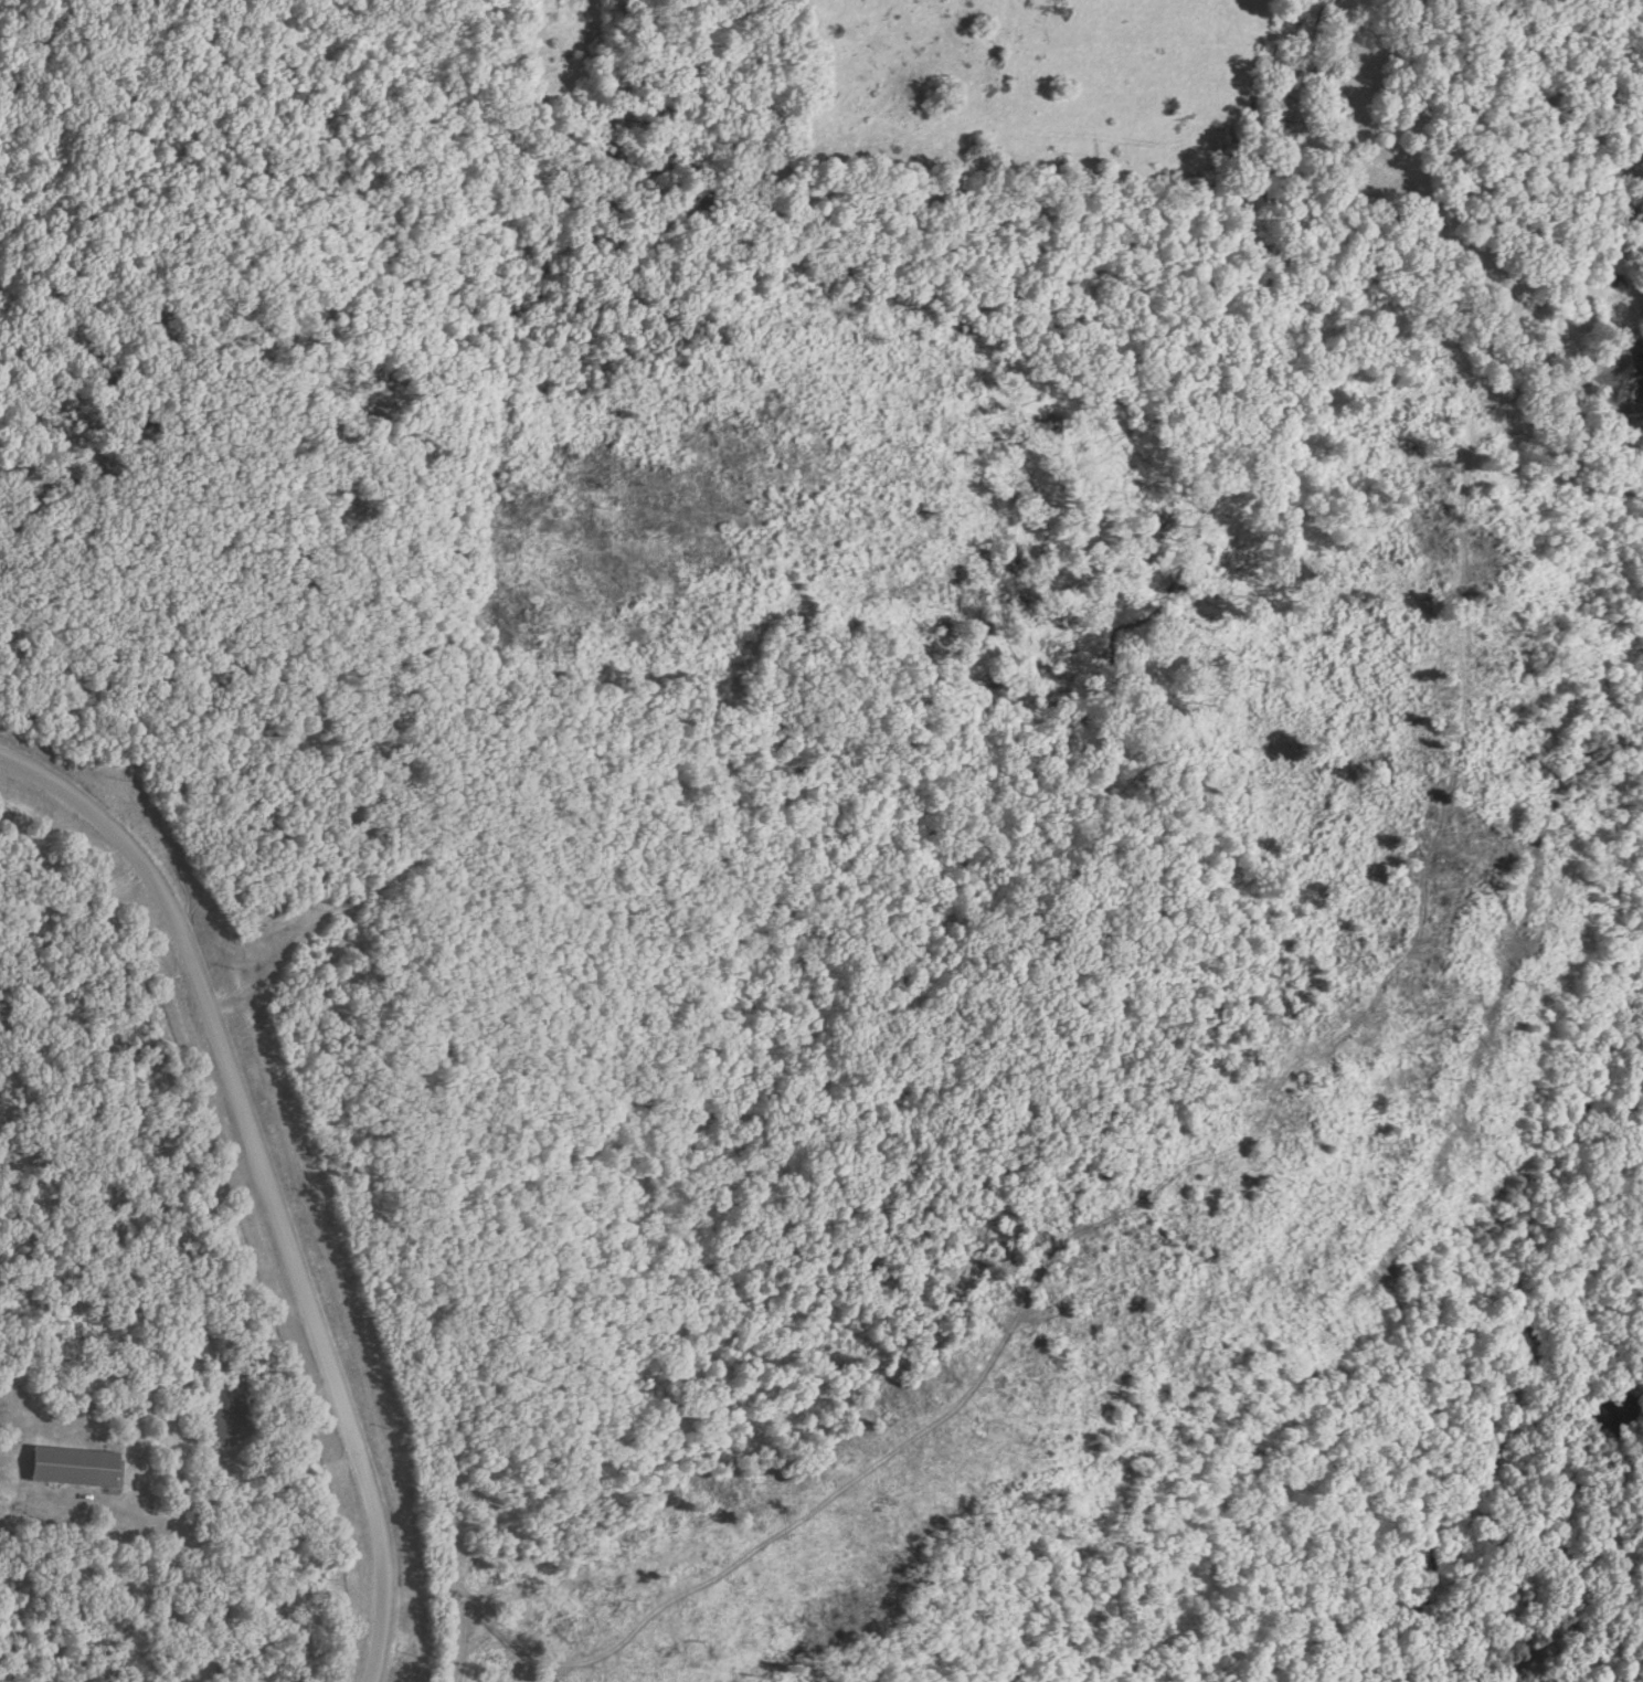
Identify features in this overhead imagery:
road: (311, 978)
road: (267, 1179)
road: (236, 1450)
building: (82, 1467)

